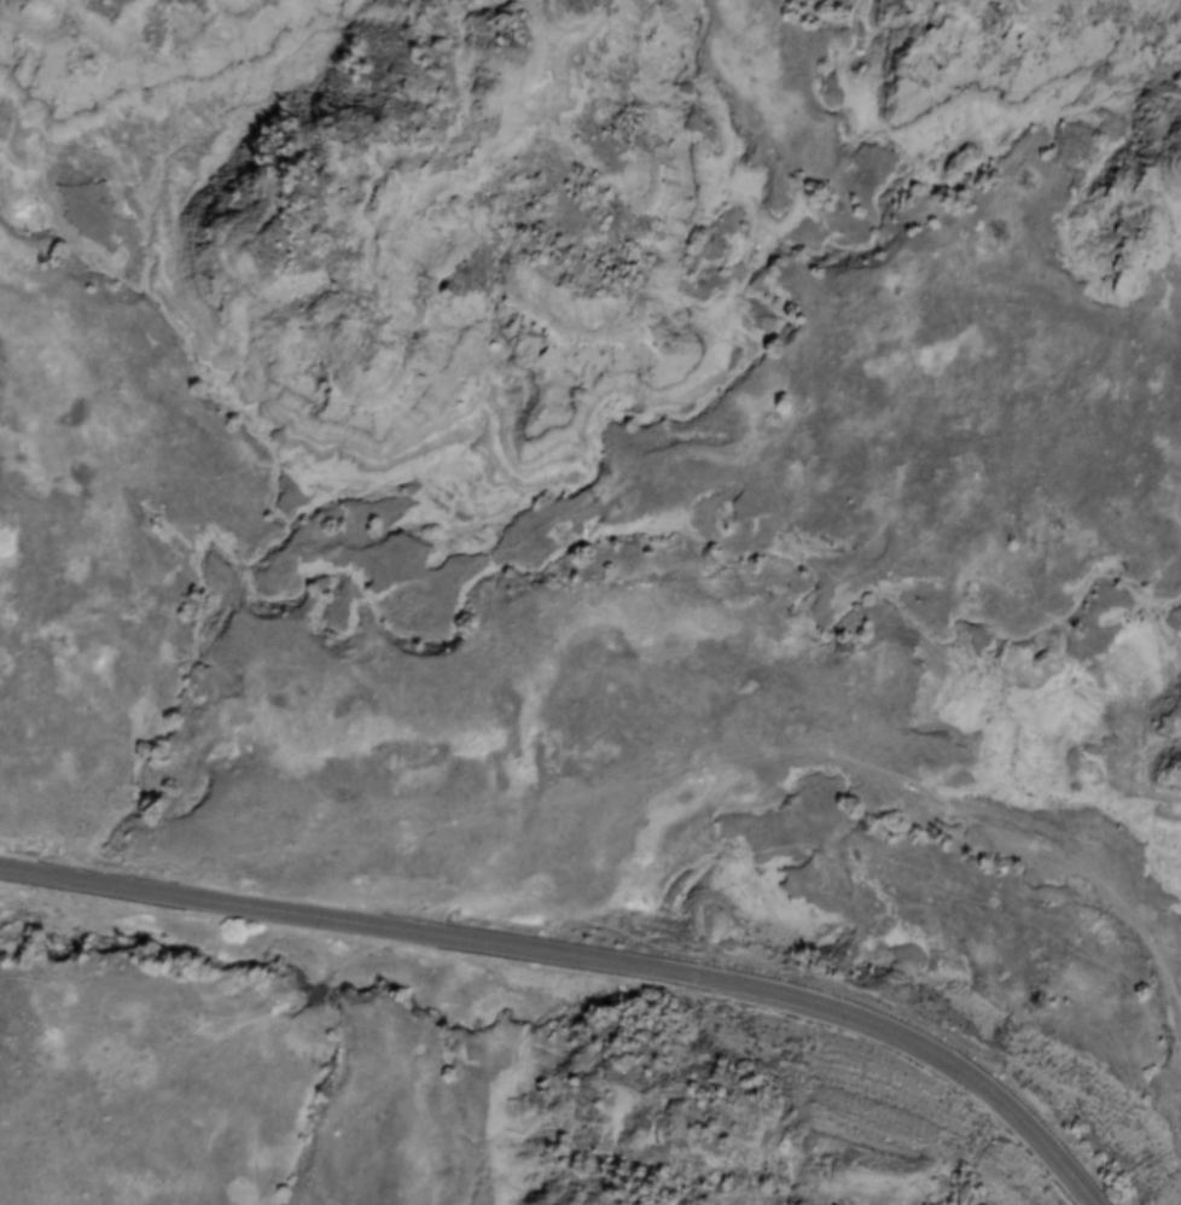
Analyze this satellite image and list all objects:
road: (577, 957)

